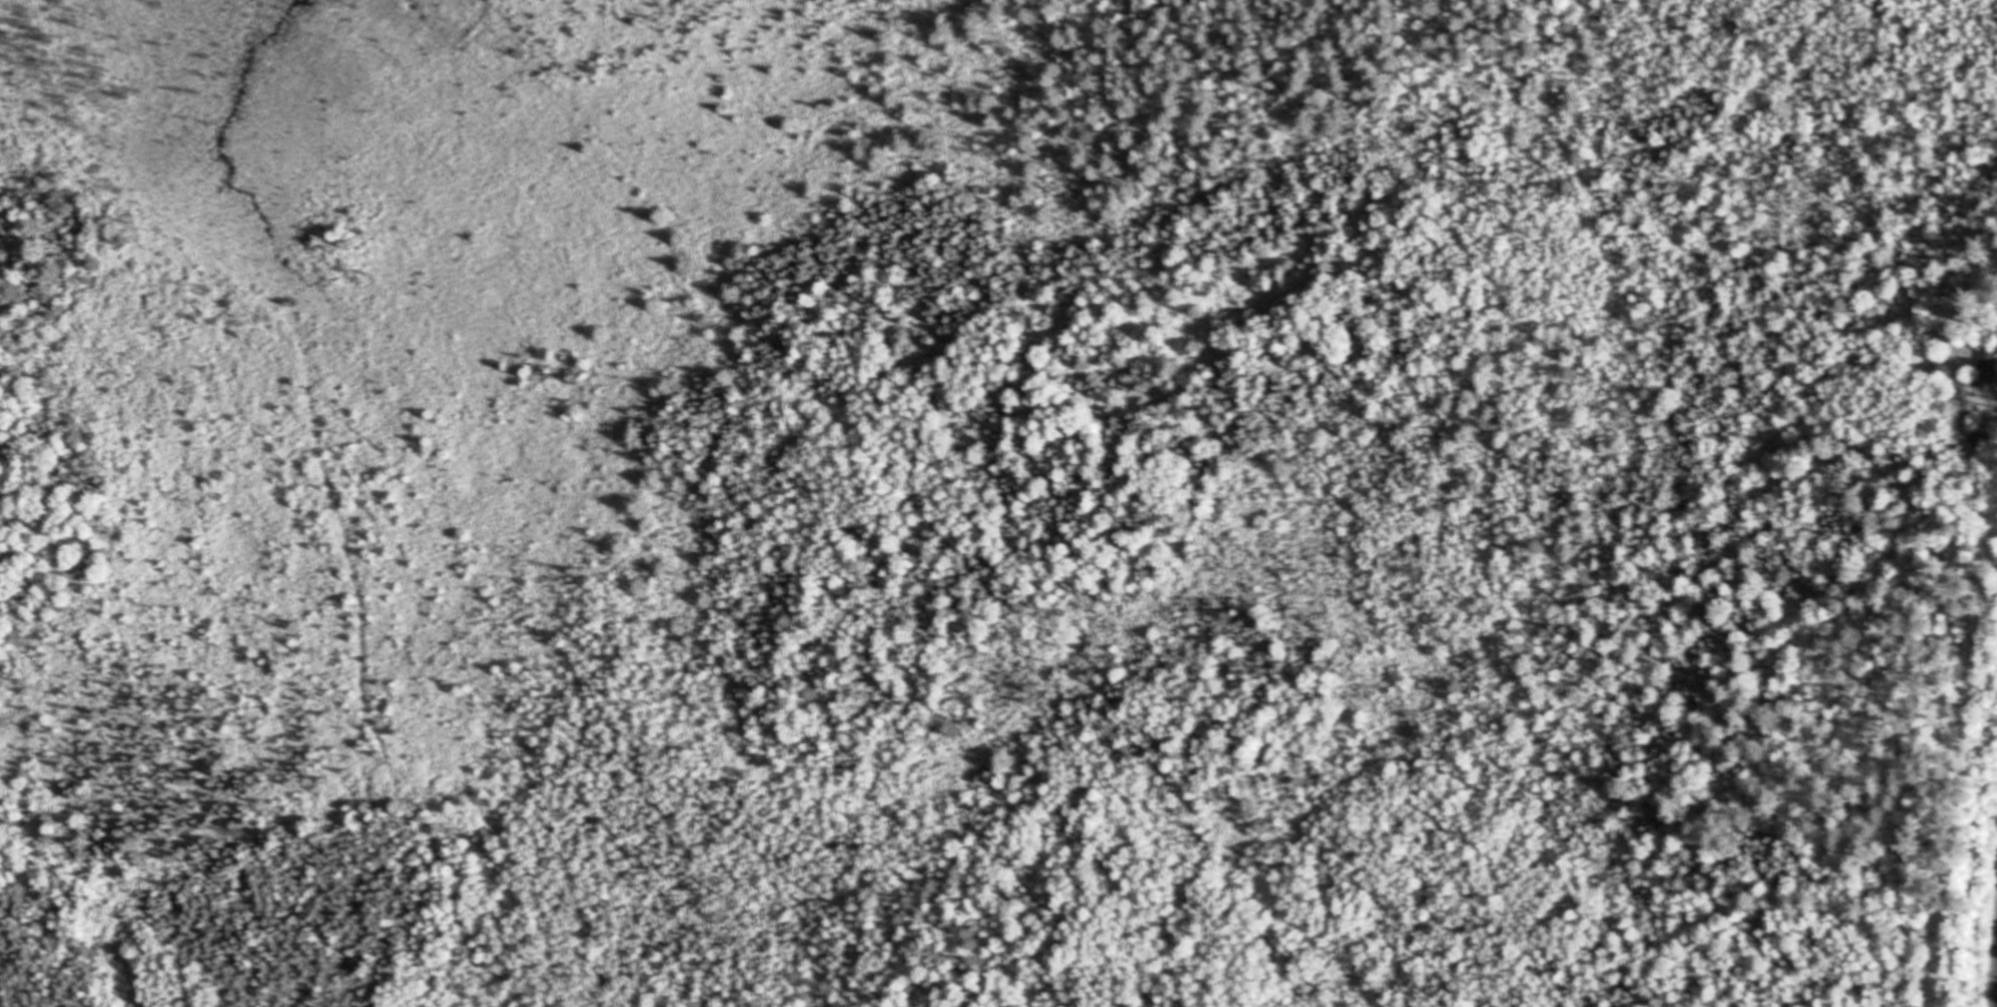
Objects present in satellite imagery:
building: (1988, 372)

